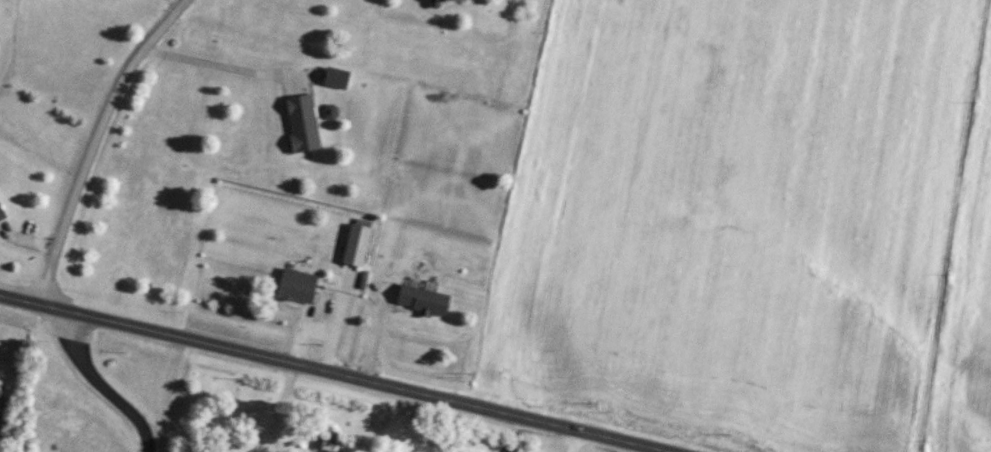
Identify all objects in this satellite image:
building: (447, 1)
road: (178, 3)
road: (224, 65)
building: (339, 77)
building: (305, 124)
road: (95, 141)
building: (2, 212)
building: (360, 246)
building: (299, 290)
building: (427, 300)
road: (334, 371)
road: (101, 387)
road: (274, 407)
road: (573, 440)
building: (326, 441)

